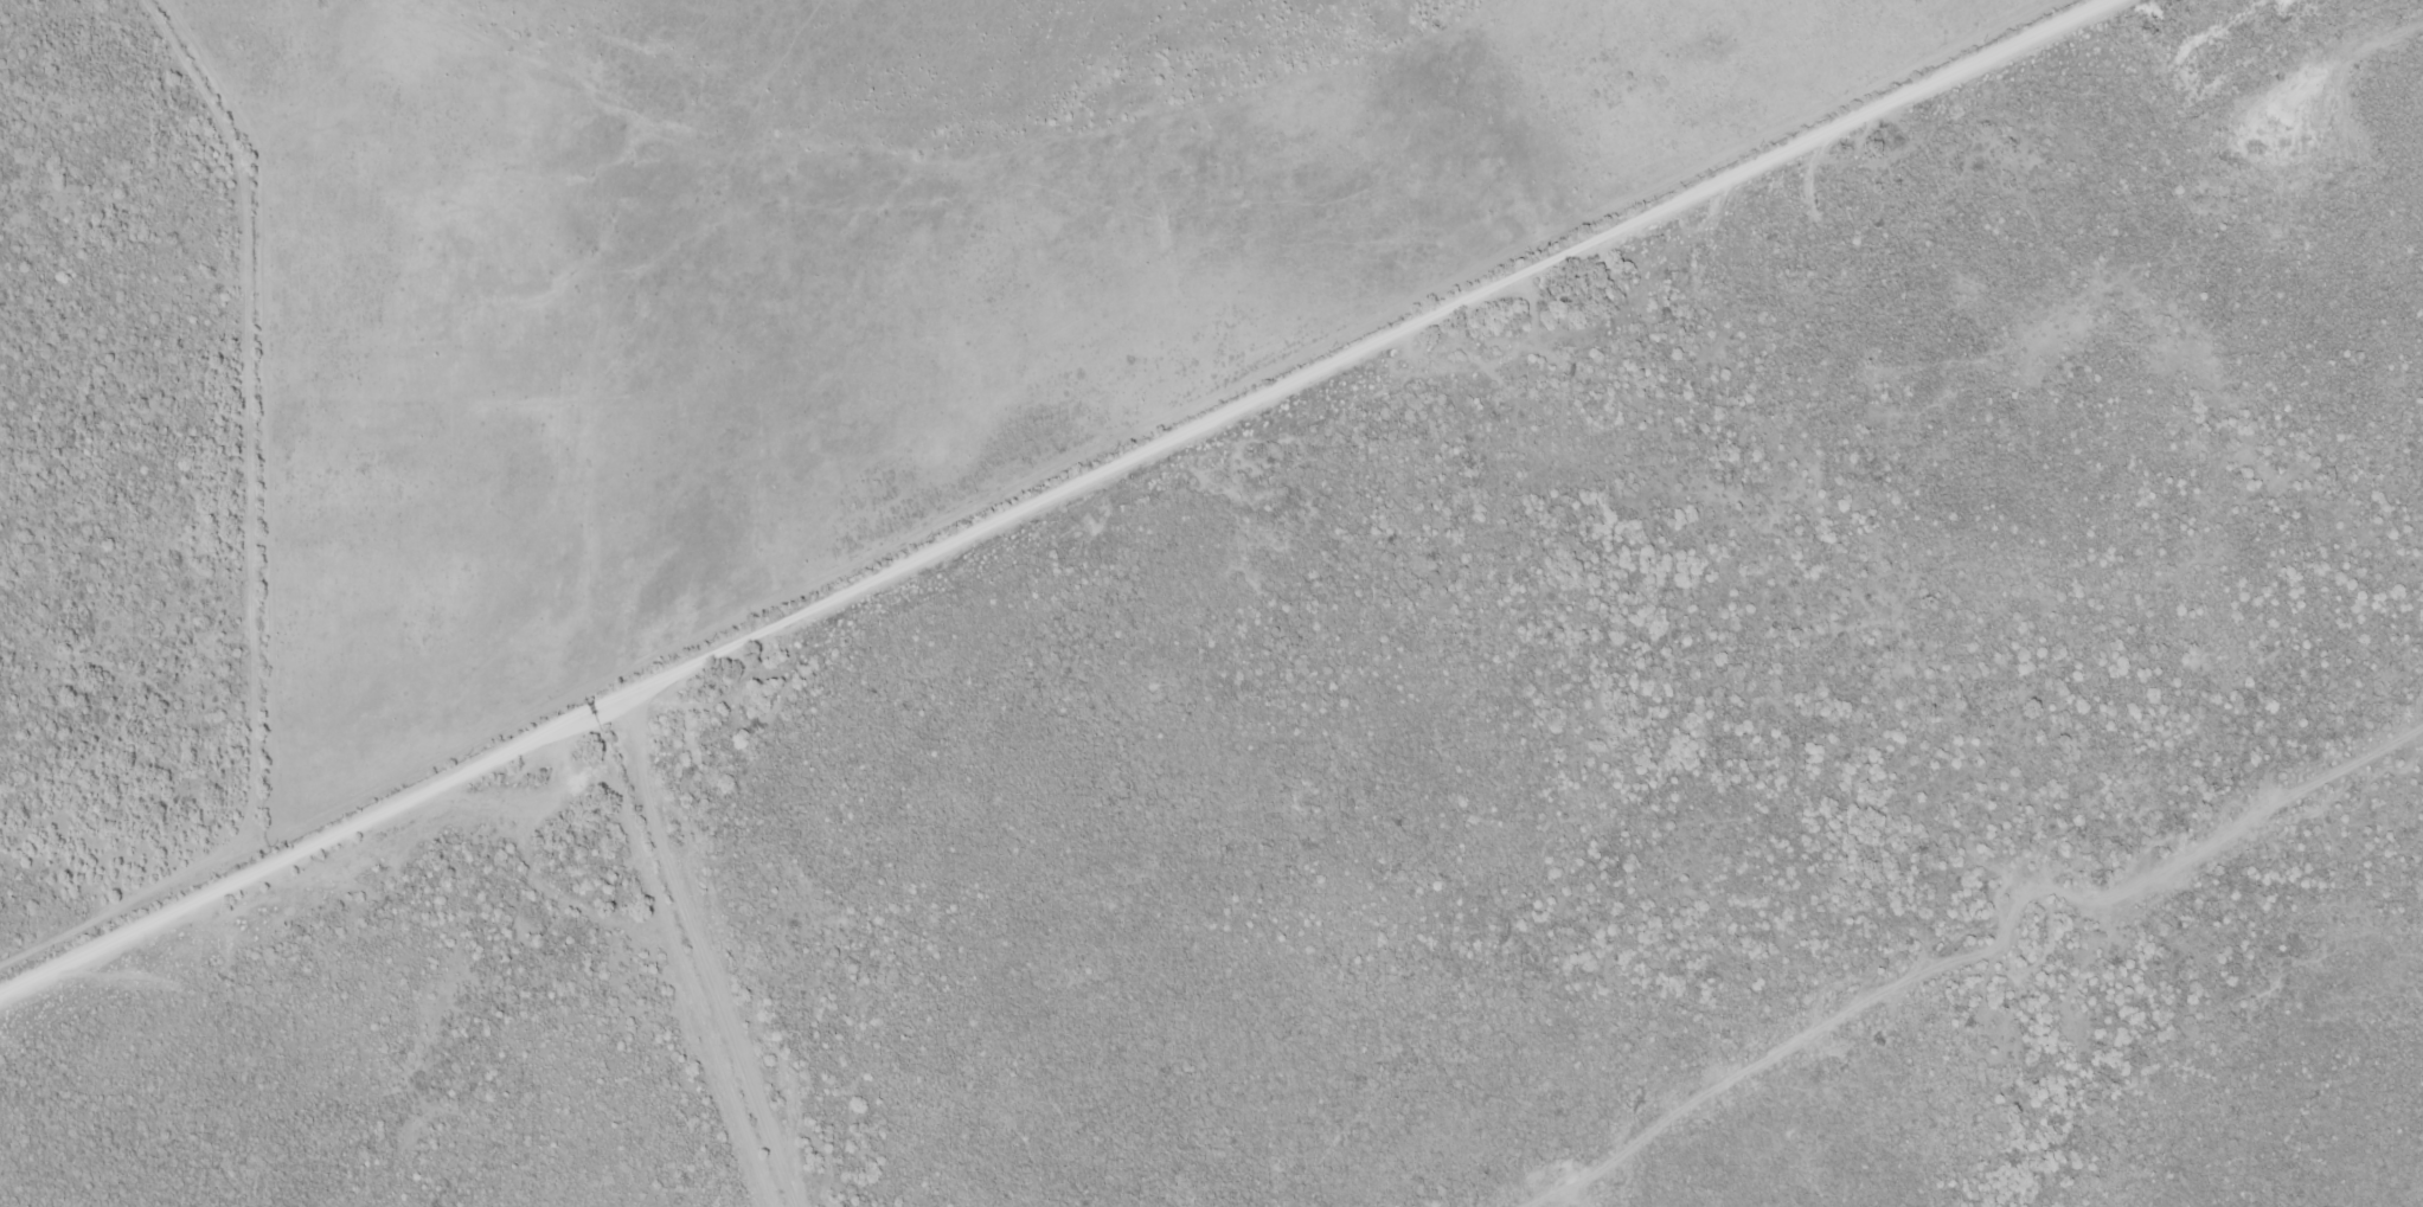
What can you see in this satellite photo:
road: (1055, 496)

